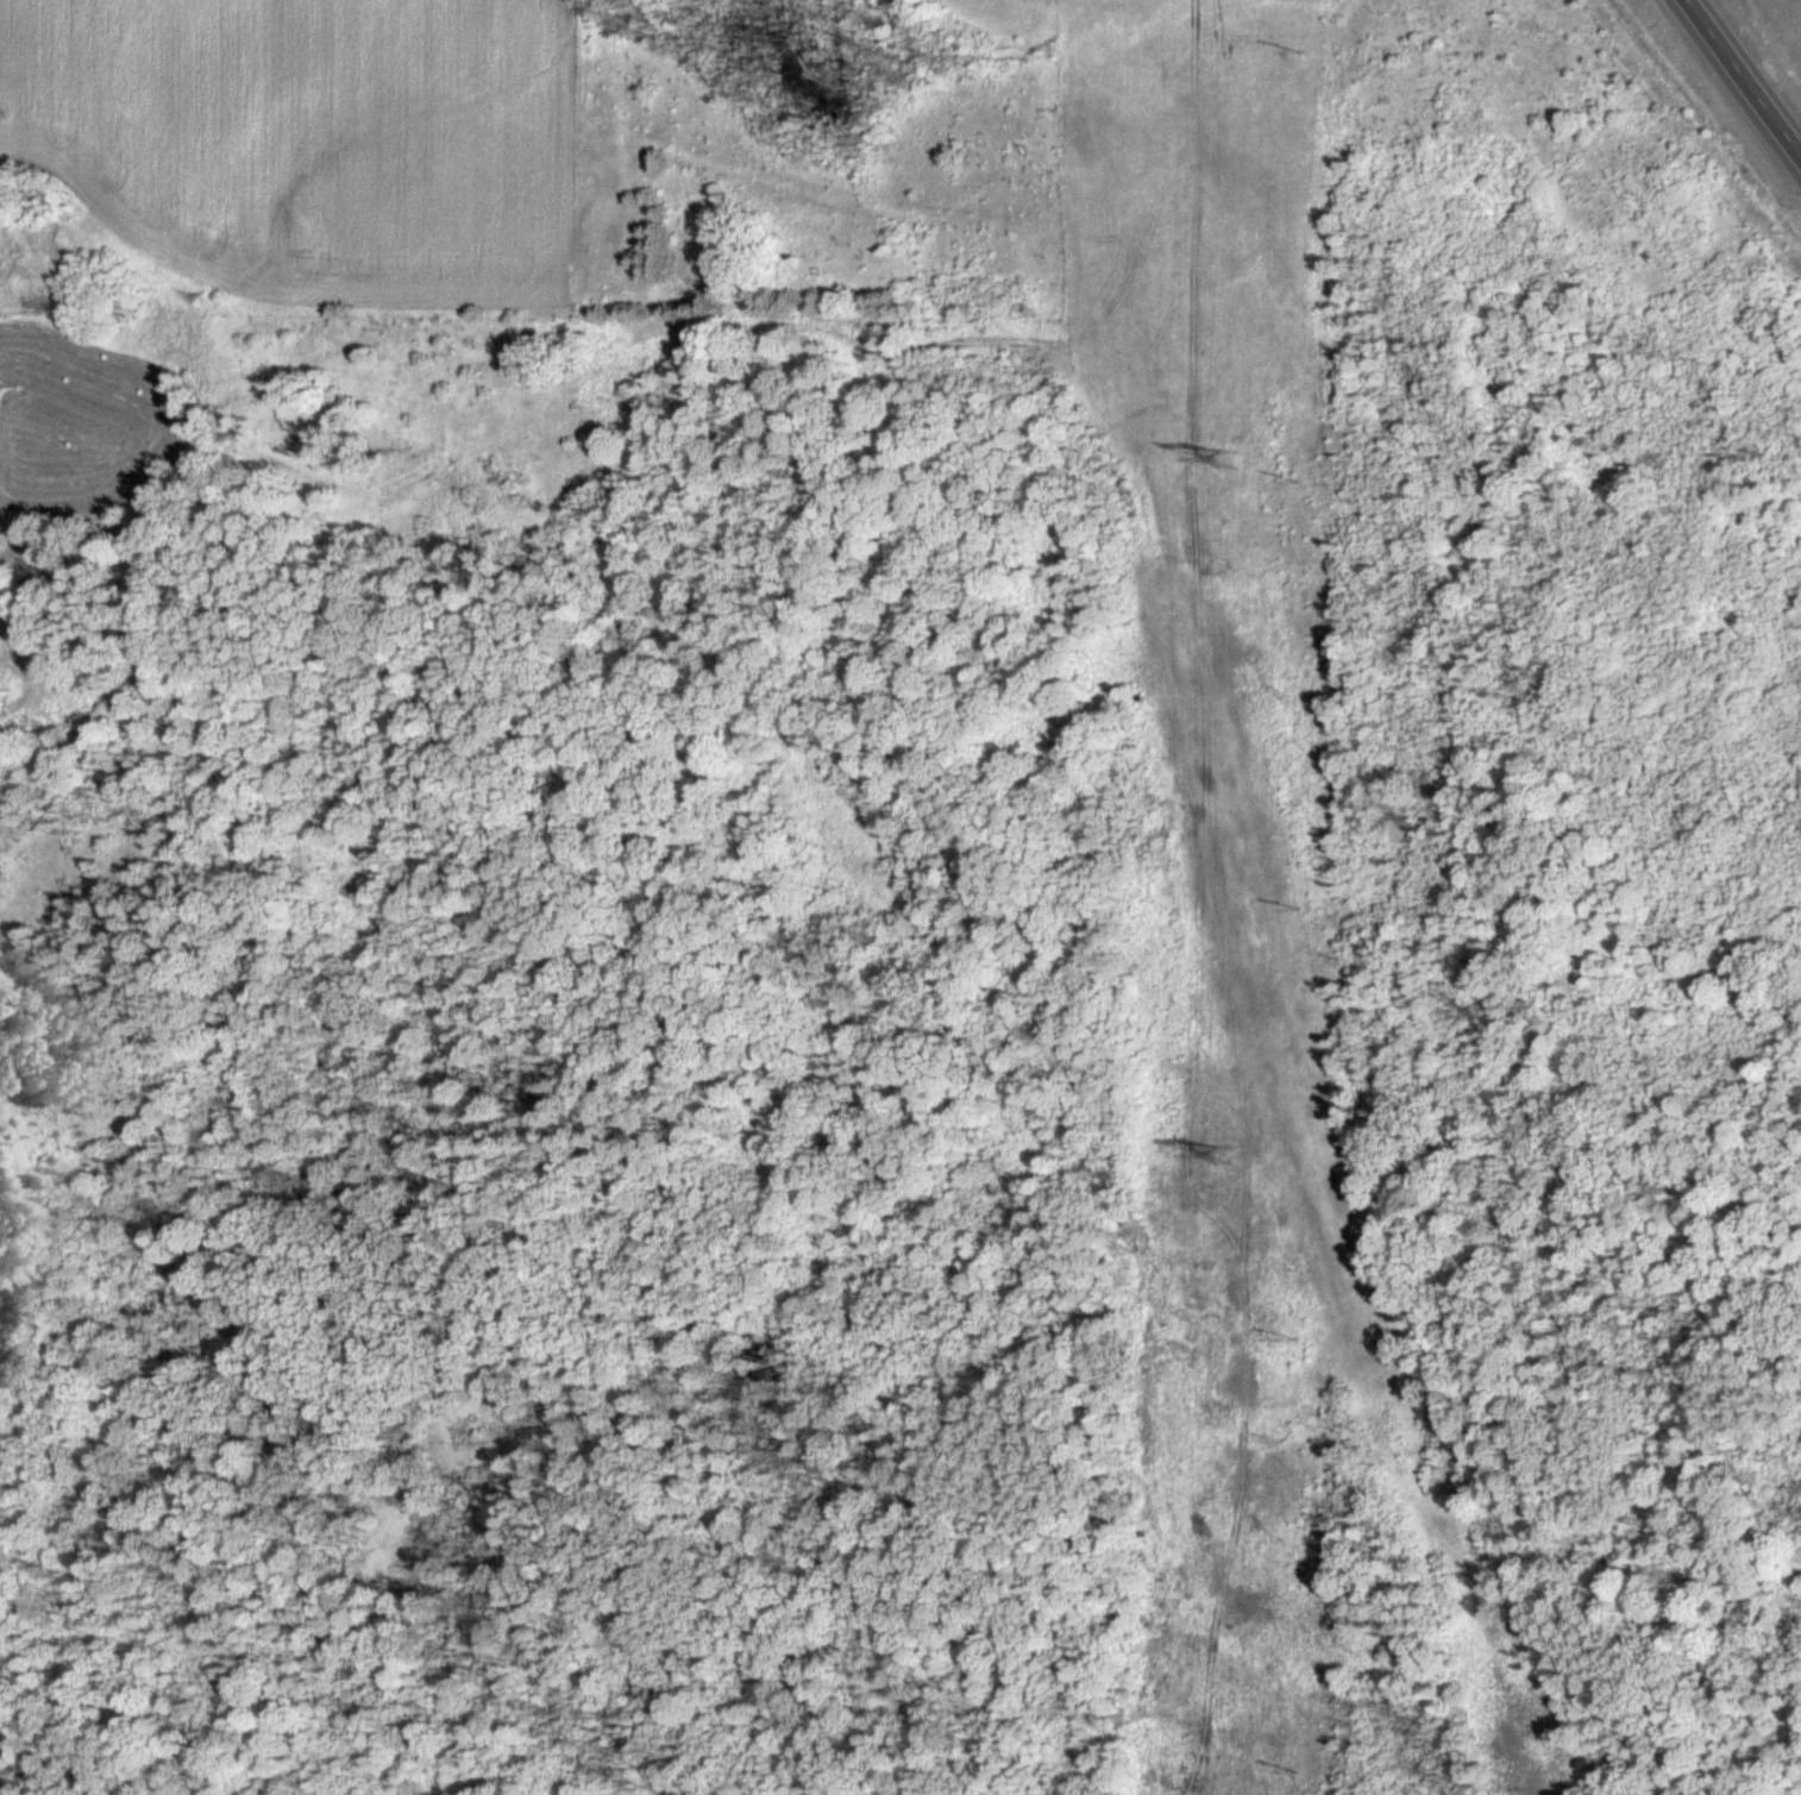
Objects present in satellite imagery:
road: (1747, 74)
power tower: (1229, 452)
power tower: (1223, 1149)

